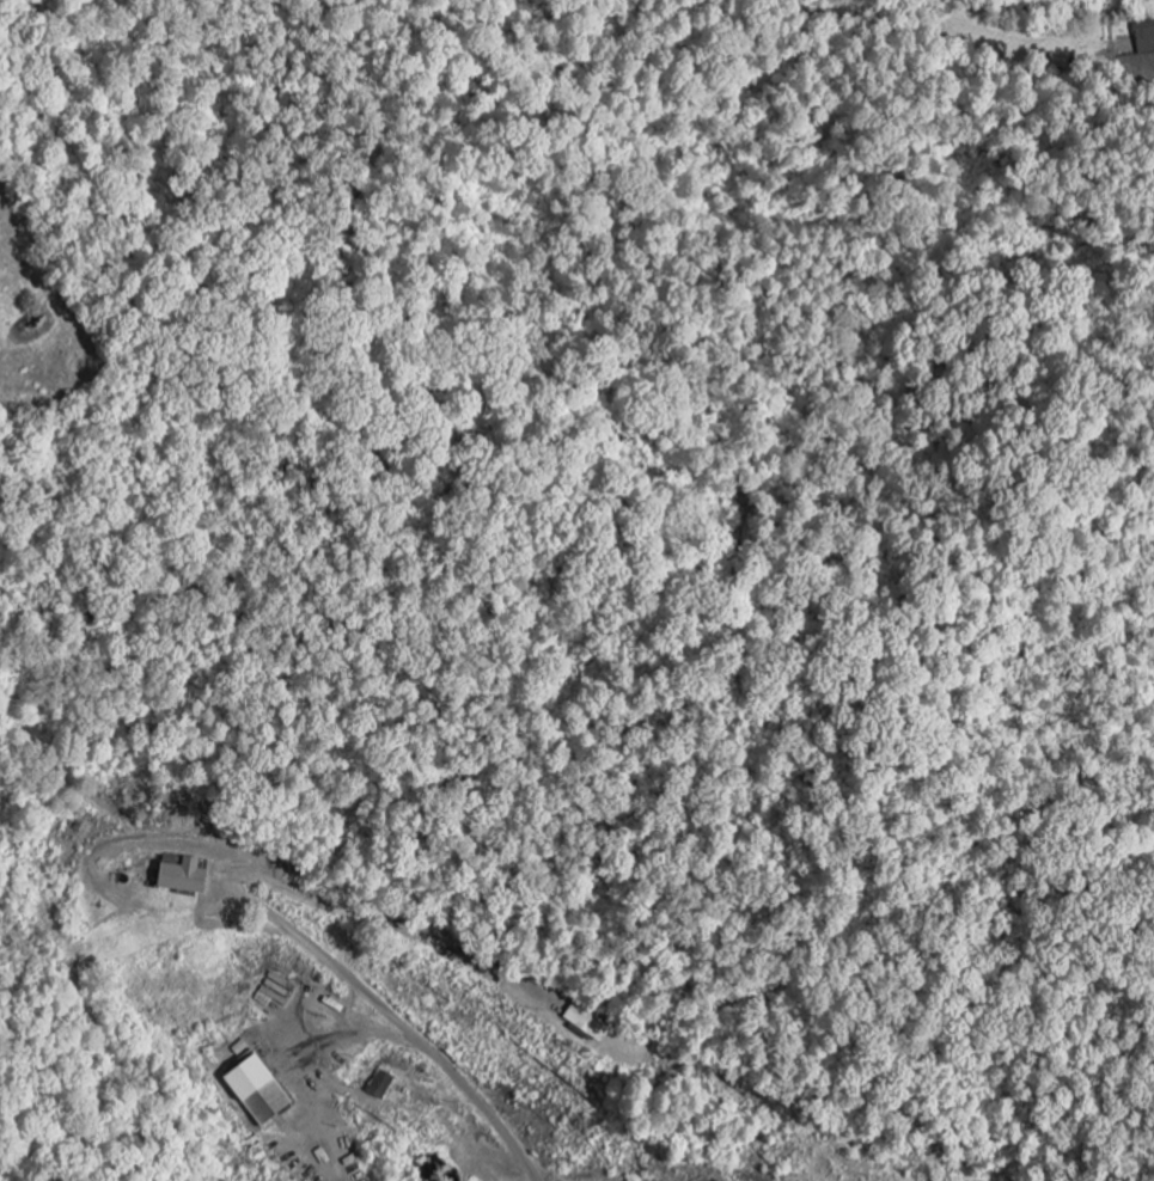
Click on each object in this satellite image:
building: (1144, 33)
building: (178, 879)
road: (270, 913)
building: (585, 1023)
building: (378, 1085)
building: (254, 1090)

